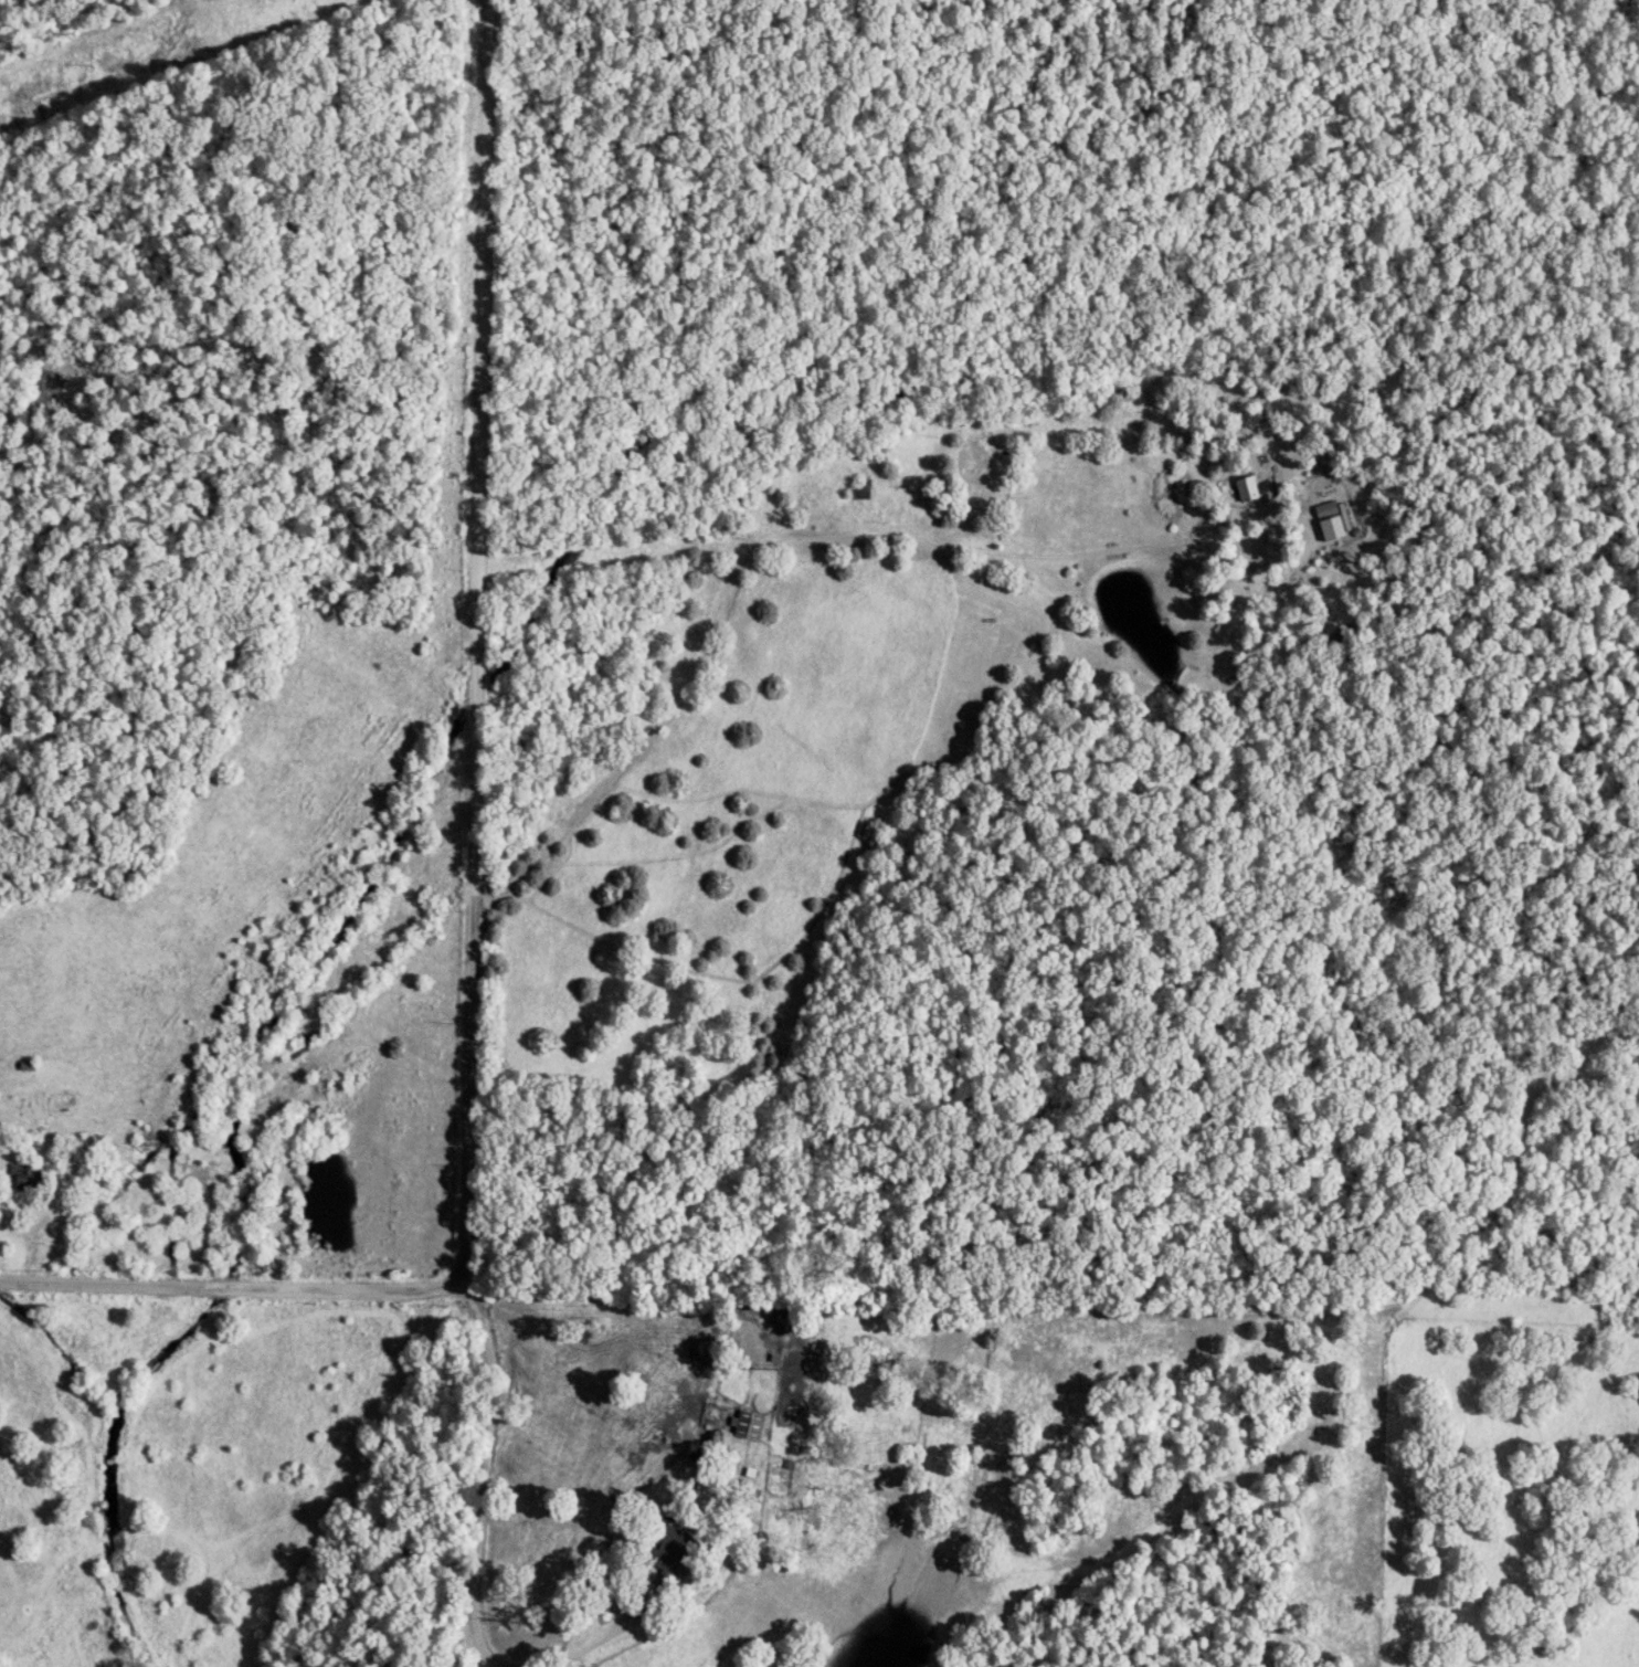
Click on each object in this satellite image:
power tower: (85, 66)
building: (1332, 514)
road: (771, 550)
road: (472, 642)
building: (42, 1102)
building: (18, 1179)
road: (234, 1285)
building: (746, 1427)
building: (665, 1551)
road: (478, 1561)

